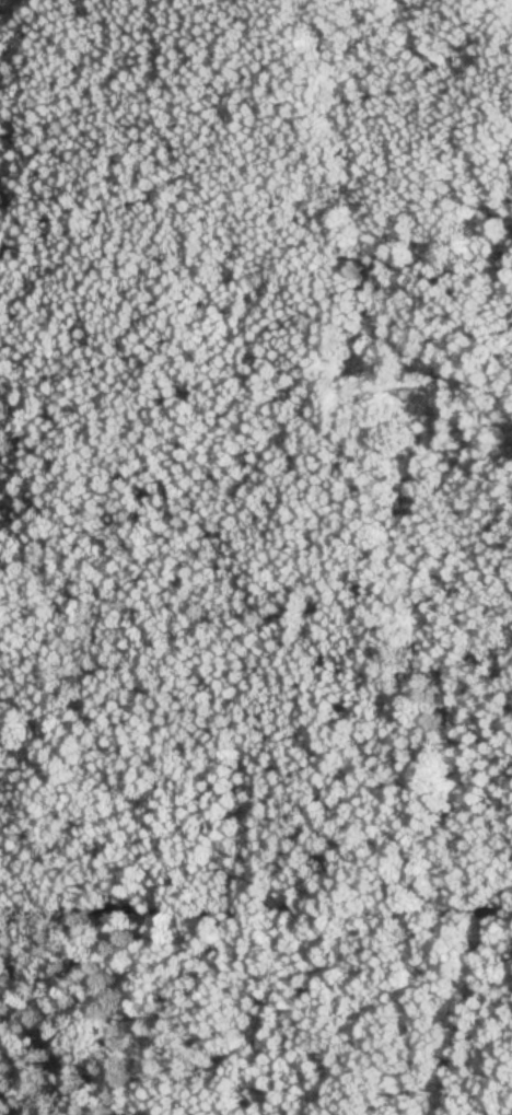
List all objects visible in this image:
road: (256, 910)

